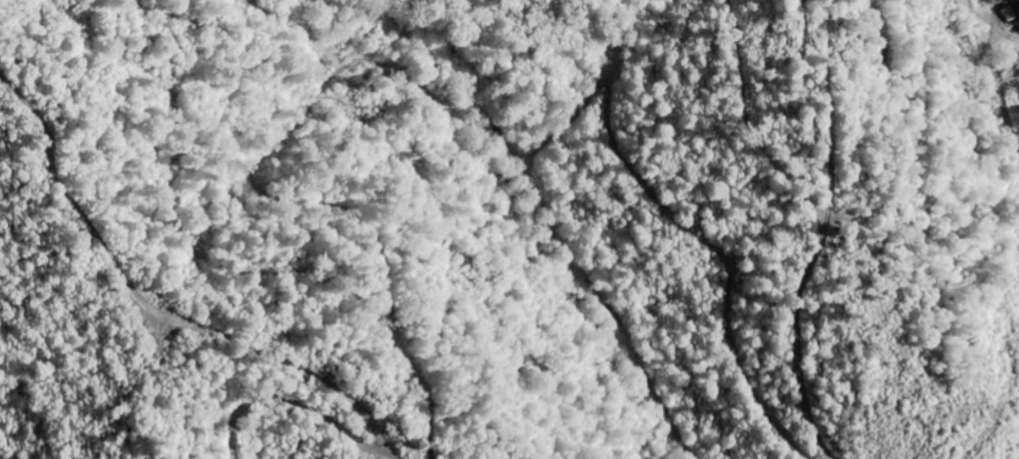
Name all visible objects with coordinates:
building: (1012, 15)

